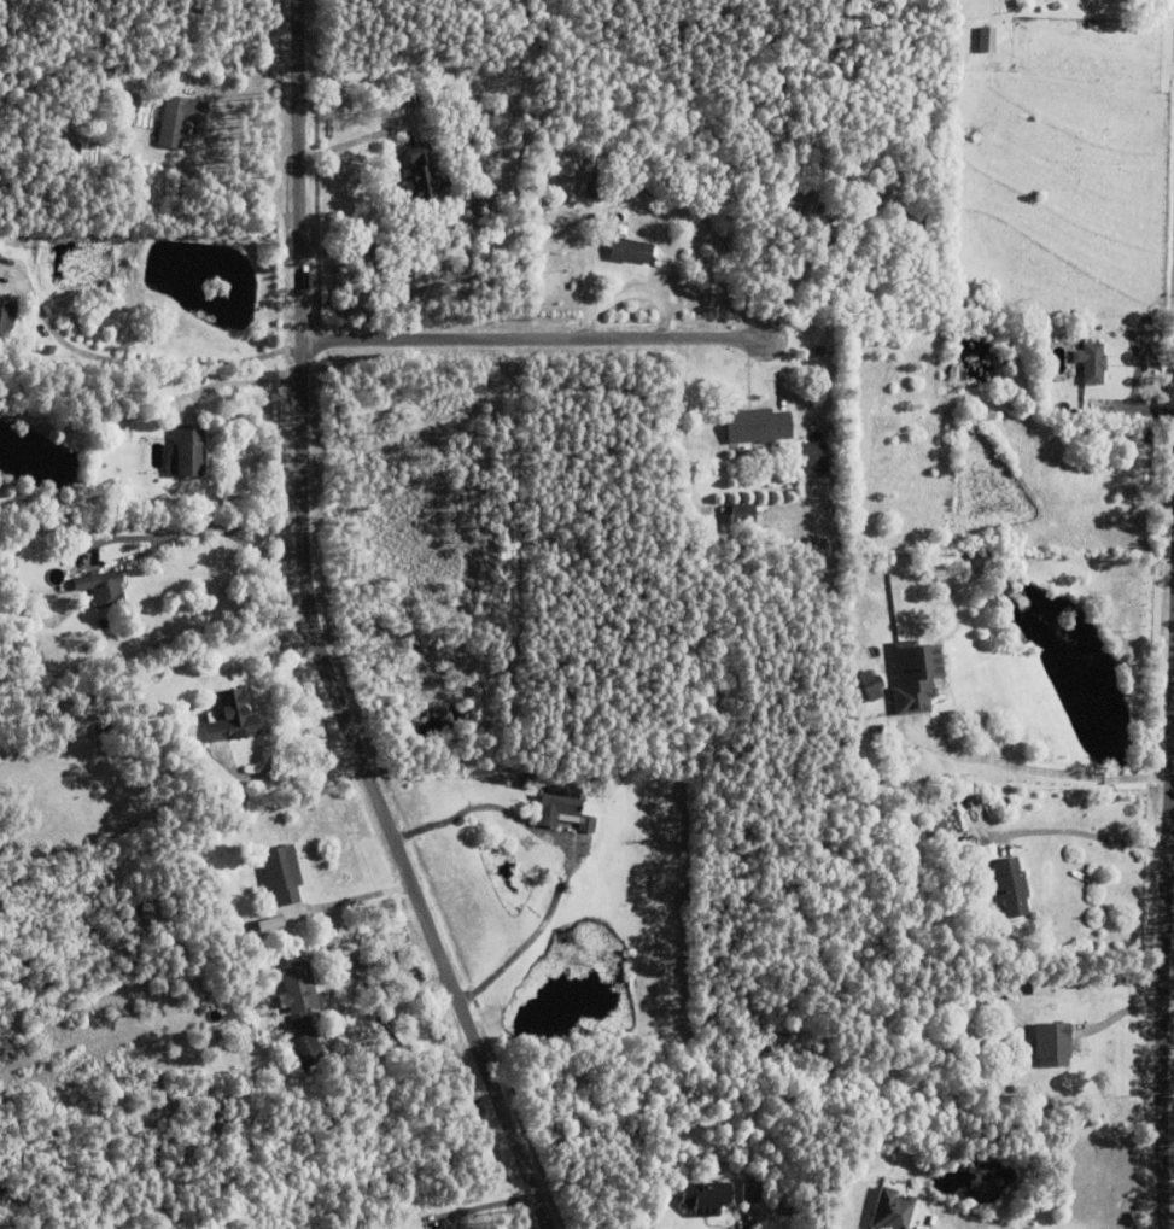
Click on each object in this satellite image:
building: (986, 40)
building: (471, 96)
building: (472, 118)
building: (179, 119)
building: (590, 163)
building: (421, 177)
building: (566, 183)
building: (596, 185)
building: (807, 207)
building: (915, 226)
building: (549, 234)
building: (631, 252)
road: (793, 281)
building: (6, 322)
building: (1041, 324)
road: (530, 338)
building: (820, 352)
road: (141, 359)
building: (1091, 364)
building: (200, 379)
road: (240, 382)
building: (758, 427)
building: (186, 453)
building: (811, 460)
building: (742, 516)
road: (208, 528)
building: (72, 537)
building: (106, 591)
road: (319, 634)
building: (1020, 638)
building: (918, 675)
building: (870, 686)
building: (232, 721)
building: (99, 735)
road: (1040, 771)
building: (532, 783)
building: (555, 813)
building: (935, 829)
building: (589, 830)
building: (281, 876)
building: (975, 877)
building: (1011, 889)
building: (147, 913)
road: (1166, 973)
building: (297, 995)
building: (1052, 1047)
building: (306, 1052)
building: (214, 1124)
building: (750, 1189)
building: (706, 1193)
road: (479, 1207)

